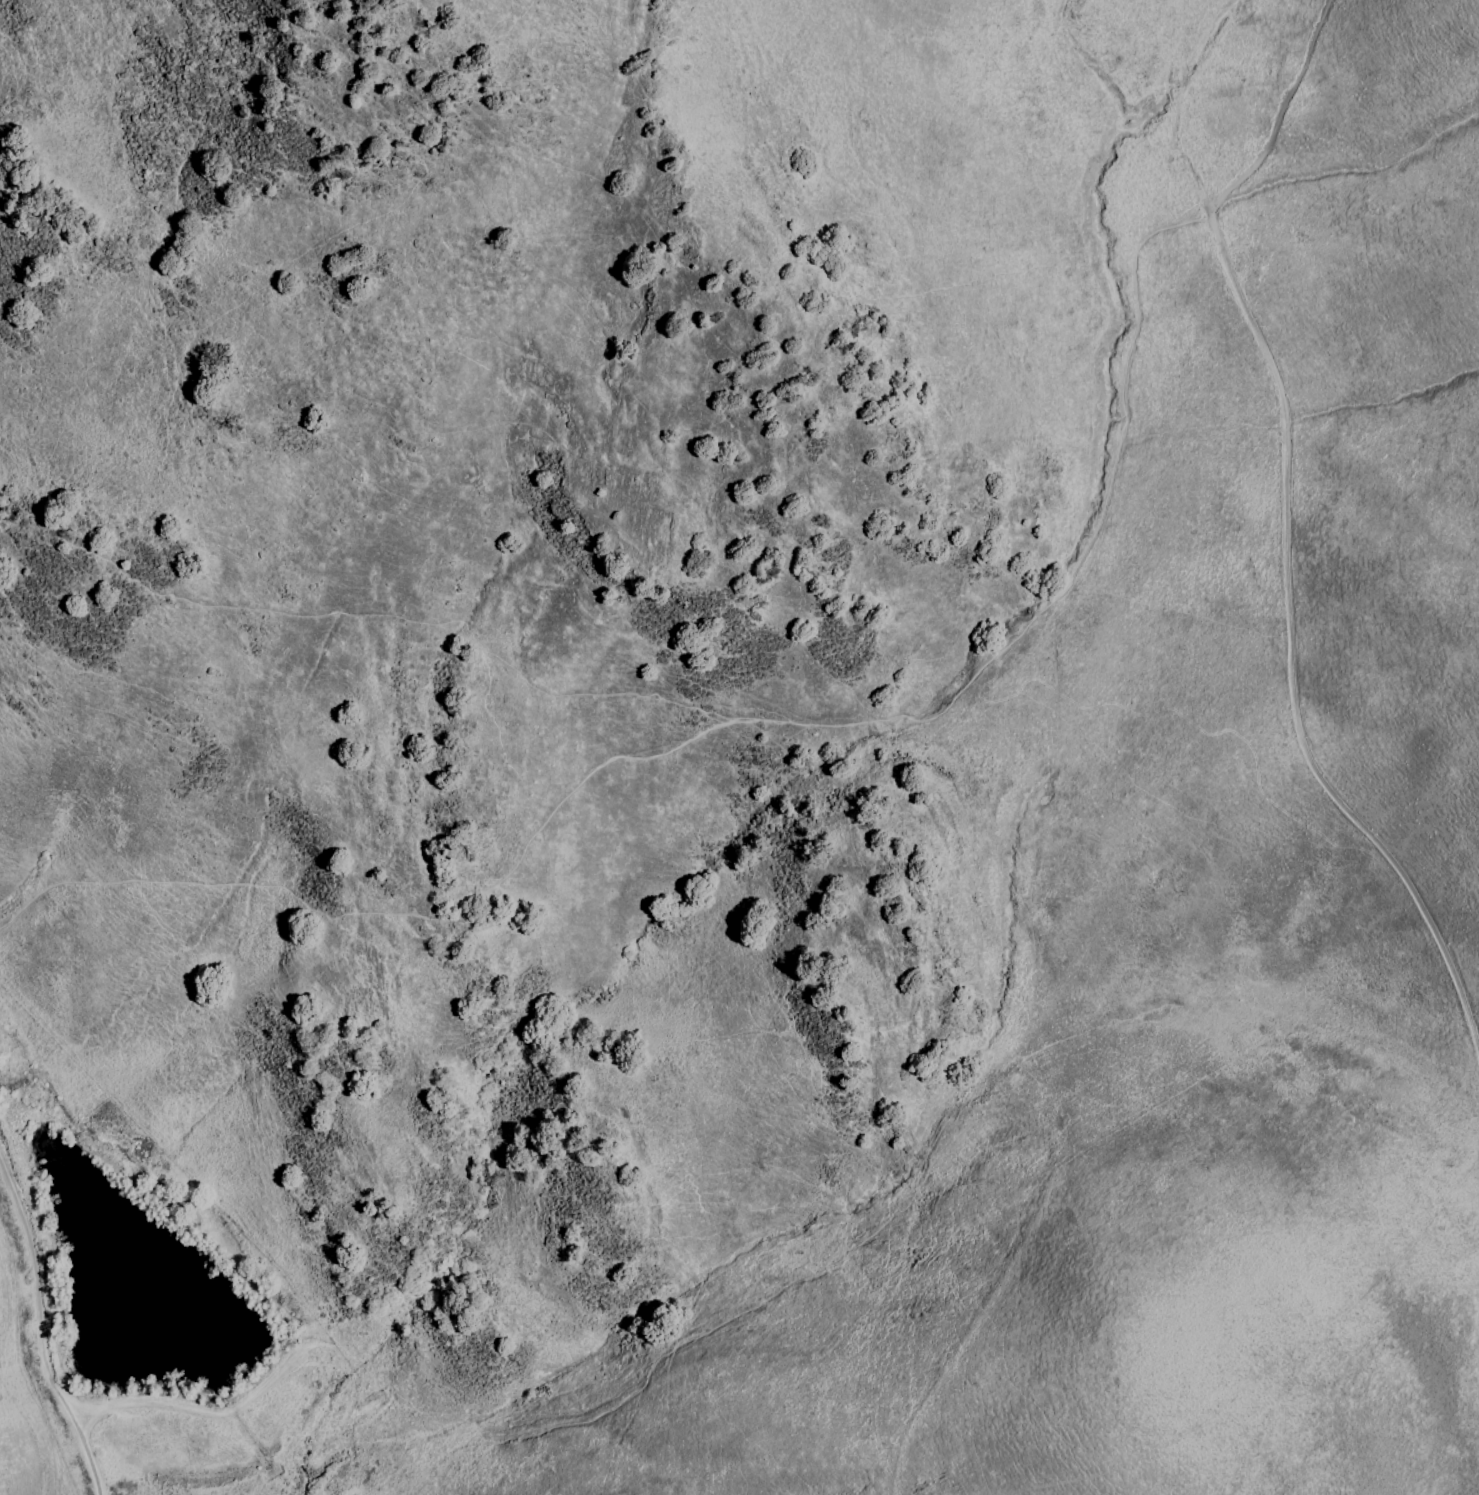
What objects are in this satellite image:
road: (1284, 115)
road: (1290, 647)
road: (40, 1333)
dam: (218, 1422)

